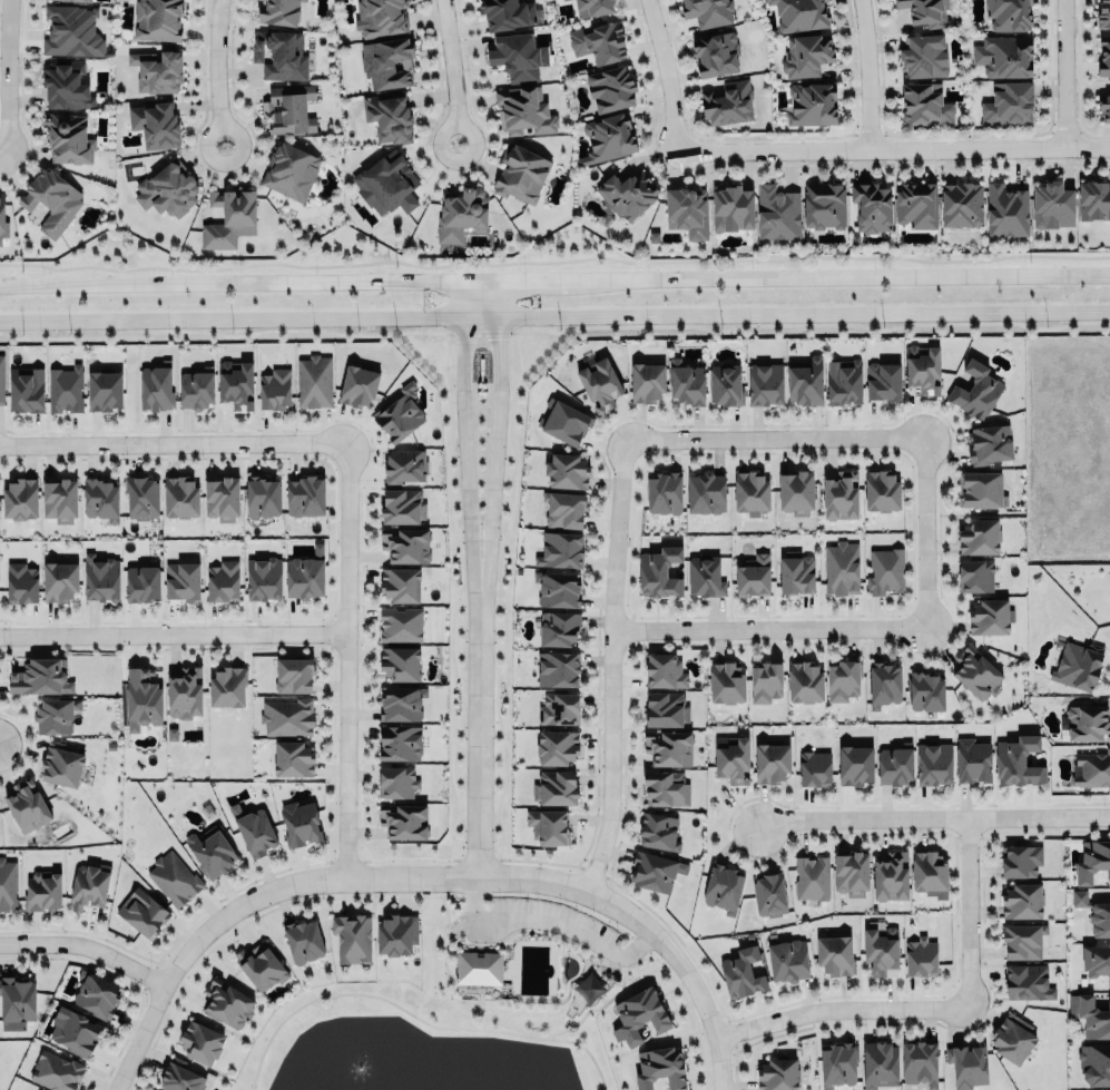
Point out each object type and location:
building: (81, 0)
building: (563, 0)
building: (593, 7)
building: (278, 11)
building: (708, 11)
building: (924, 11)
building: (799, 13)
building: (509, 14)
building: (1010, 14)
building: (1103, 14)
building: (382, 17)
building: (158, 20)
building: (72, 31)
building: (599, 42)
building: (716, 52)
building: (281, 55)
building: (806, 56)
building: (518, 57)
building: (1004, 57)
building: (1104, 57)
building: (924, 58)
road: (448, 61)
road: (214, 62)
building: (389, 62)
building: (158, 70)
road: (660, 72)
road: (864, 72)
road: (1063, 73)
road: (2, 78)
building: (66, 86)
building: (610, 88)
building: (727, 104)
building: (813, 104)
building: (925, 105)
building: (1009, 105)
building: (1104, 107)
building: (288, 109)
building: (523, 111)
building: (389, 116)
building: (156, 124)
road: (235, 128)
building: (610, 137)
building: (68, 138)
road: (440, 143)
road: (892, 147)
road: (1, 157)
building: (292, 171)
building: (521, 171)
building: (386, 185)
building: (168, 190)
building: (628, 195)
building: (1094, 200)
building: (52, 202)
building: (916, 205)
building: (962, 205)
building: (825, 206)
building: (872, 206)
building: (1052, 206)
building: (734, 210)
building: (1005, 210)
building: (687, 212)
building: (778, 214)
building: (2, 216)
building: (461, 216)
building: (229, 218)
road: (641, 276)
road: (105, 282)
road: (18, 284)
road: (554, 314)
building: (923, 369)
building: (1, 380)
building: (313, 380)
building: (599, 382)
building: (806, 382)
building: (843, 382)
building: (883, 383)
building: (235, 384)
building: (356, 384)
building: (648, 384)
building: (687, 384)
building: (726, 385)
building: (766, 385)
building: (155, 386)
building: (26, 387)
building: (195, 387)
building: (273, 387)
building: (63, 389)
building: (102, 389)
building: (975, 391)
building: (399, 414)
road: (462, 418)
road: (497, 418)
building: (563, 420)
road: (774, 439)
building: (989, 442)
road: (171, 443)
building: (405, 465)
building: (567, 469)
building: (980, 487)
building: (881, 491)
building: (304, 492)
building: (750, 492)
building: (664, 493)
building: (795, 493)
building: (179, 494)
building: (262, 494)
building: (706, 494)
building: (140, 495)
building: (220, 495)
building: (19, 497)
building: (100, 497)
building: (59, 498)
building: (841, 498)
building: (402, 503)
building: (563, 507)
road: (925, 532)
building: (979, 537)
building: (405, 544)
building: (560, 548)
building: (841, 567)
building: (885, 569)
building: (659, 570)
building: (796, 572)
building: (974, 573)
building: (705, 575)
building: (99, 576)
building: (304, 576)
building: (752, 576)
building: (263, 578)
building: (58, 579)
building: (181, 579)
building: (223, 579)
building: (20, 580)
building: (141, 581)
building: (399, 581)
building: (558, 589)
building: (990, 617)
building: (400, 623)
building: (558, 625)
road: (769, 629)
road: (171, 635)
road: (343, 658)
building: (399, 662)
building: (1077, 664)
road: (611, 666)
building: (557, 667)
building: (662, 669)
building: (975, 672)
building: (293, 675)
building: (42, 677)
building: (765, 680)
building: (842, 680)
building: (805, 681)
building: (726, 683)
building: (884, 683)
building: (227, 687)
building: (925, 691)
building: (184, 693)
building: (141, 699)
building: (401, 703)
building: (558, 707)
building: (666, 709)
building: (55, 714)
building: (287, 716)
road: (477, 716)
building: (1088, 723)
building: (399, 742)
building: (556, 746)
building: (668, 746)
building: (293, 757)
building: (731, 758)
building: (972, 759)
building: (1018, 759)
building: (772, 762)
building: (61, 763)
building: (854, 764)
building: (894, 764)
building: (933, 764)
building: (814, 767)
building: (1091, 768)
building: (395, 780)
building: (556, 786)
building: (666, 788)
building: (27, 805)
road: (930, 816)
building: (402, 819)
building: (299, 823)
building: (548, 825)
building: (253, 828)
building: (658, 829)
building: (212, 850)
building: (1092, 860)
building: (1020, 861)
building: (655, 871)
building: (930, 872)
building: (852, 873)
building: (890, 875)
building: (812, 876)
building: (173, 877)
building: (8, 885)
building: (88, 885)
building: (723, 888)
building: (42, 891)
building: (768, 895)
building: (1079, 897)
road: (551, 898)
building: (1022, 900)
road: (248, 902)
road: (443, 906)
road: (965, 912)
building: (141, 913)
road: (546, 917)
building: (1100, 919)
parking lot: (540, 924)
road: (646, 926)
building: (396, 932)
road: (534, 934)
building: (352, 937)
building: (303, 940)
building: (1023, 940)
road: (479, 946)
road: (87, 949)
building: (881, 949)
building: (834, 953)
building: (921, 955)
road: (642, 956)
building: (787, 959)
road: (593, 960)
building: (1096, 960)
building: (259, 964)
water park: (539, 970)
building: (479, 972)
building: (740, 972)
building: (1028, 981)
building: (96, 993)
road: (602, 998)
building: (17, 999)
road: (468, 1001)
road: (478, 1001)
building: (228, 1004)
park: (462, 1005)
road: (839, 1009)
road: (414, 1015)
building: (638, 1015)
building: (1090, 1015)
building: (73, 1029)
building: (1013, 1037)
building: (200, 1041)
building: (920, 1062)
building: (878, 1063)
building: (1094, 1063)
building: (837, 1064)
building: (966, 1064)
building: (659, 1068)
building: (56, 1070)
fountain: (354, 1072)
building: (777, 1073)
building: (179, 1078)

